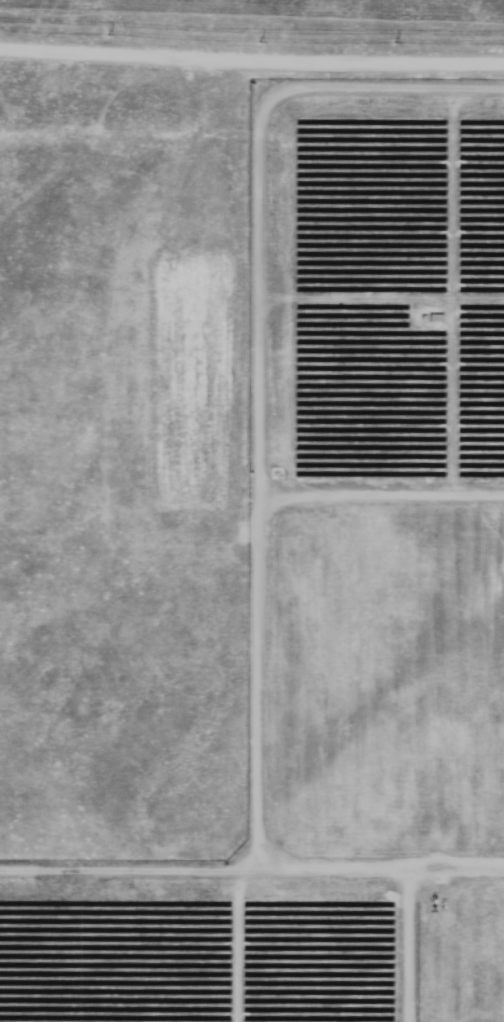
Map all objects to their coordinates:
road: (252, 60)
solar farm: (252, 511)

